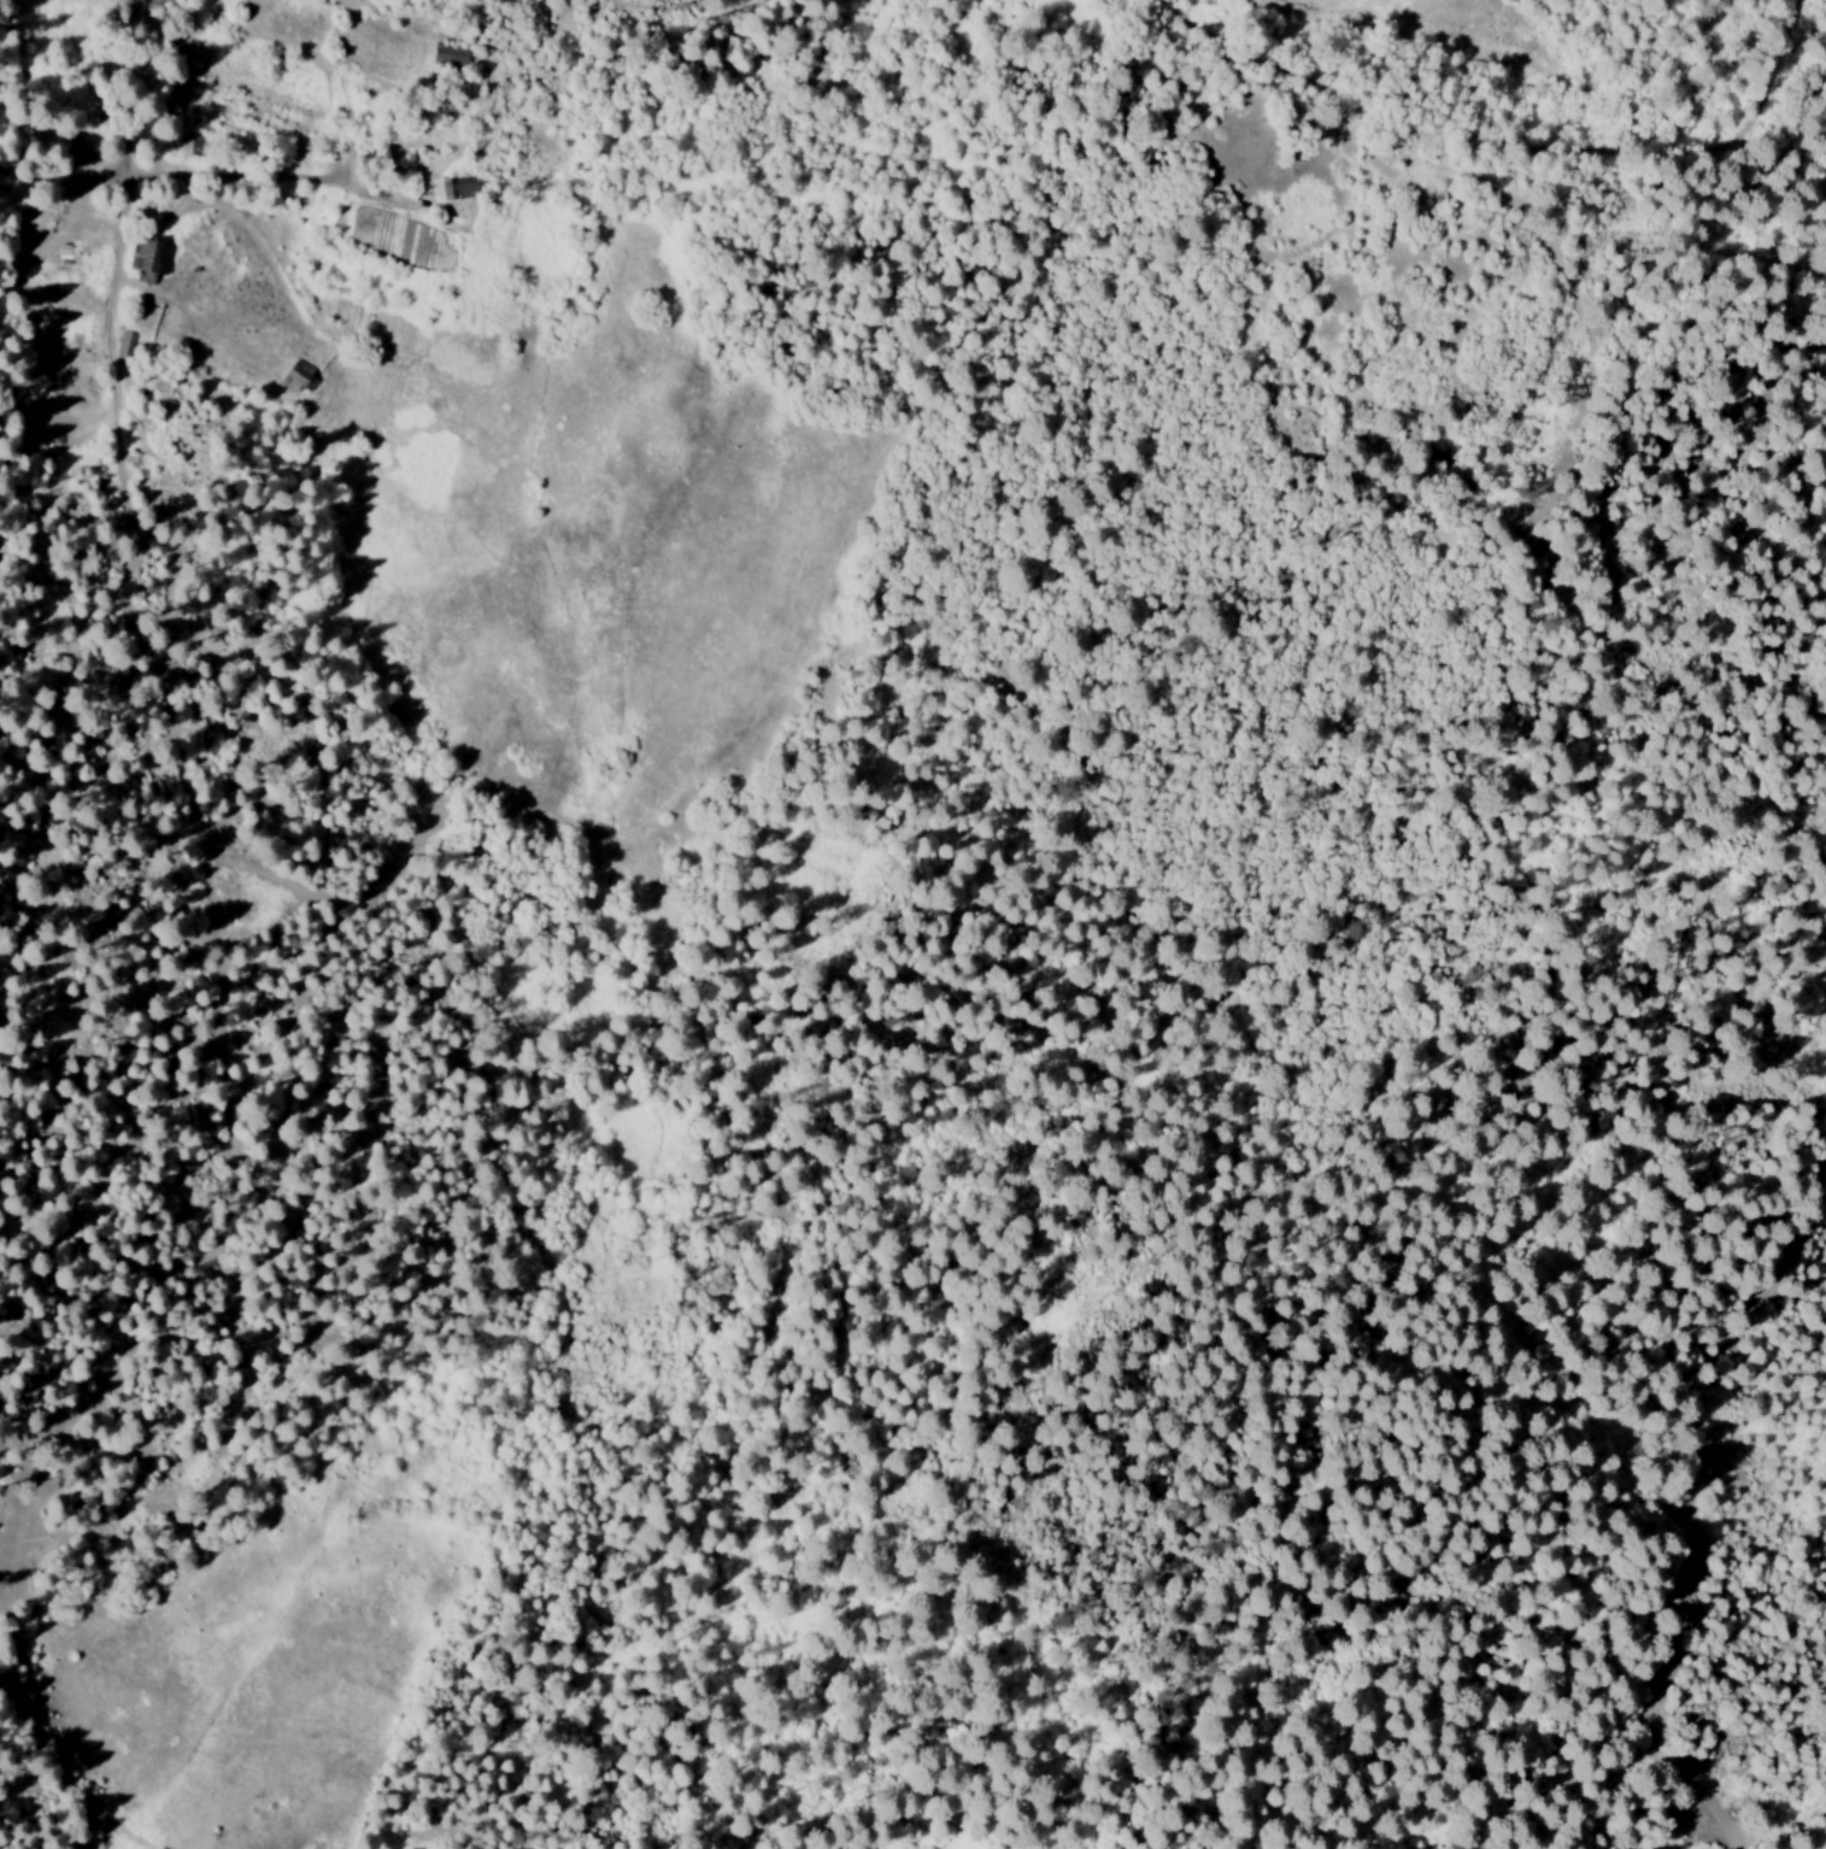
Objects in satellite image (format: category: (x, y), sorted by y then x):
road: (174, 186)
building: (447, 187)
building: (143, 259)
road: (1531, 515)

